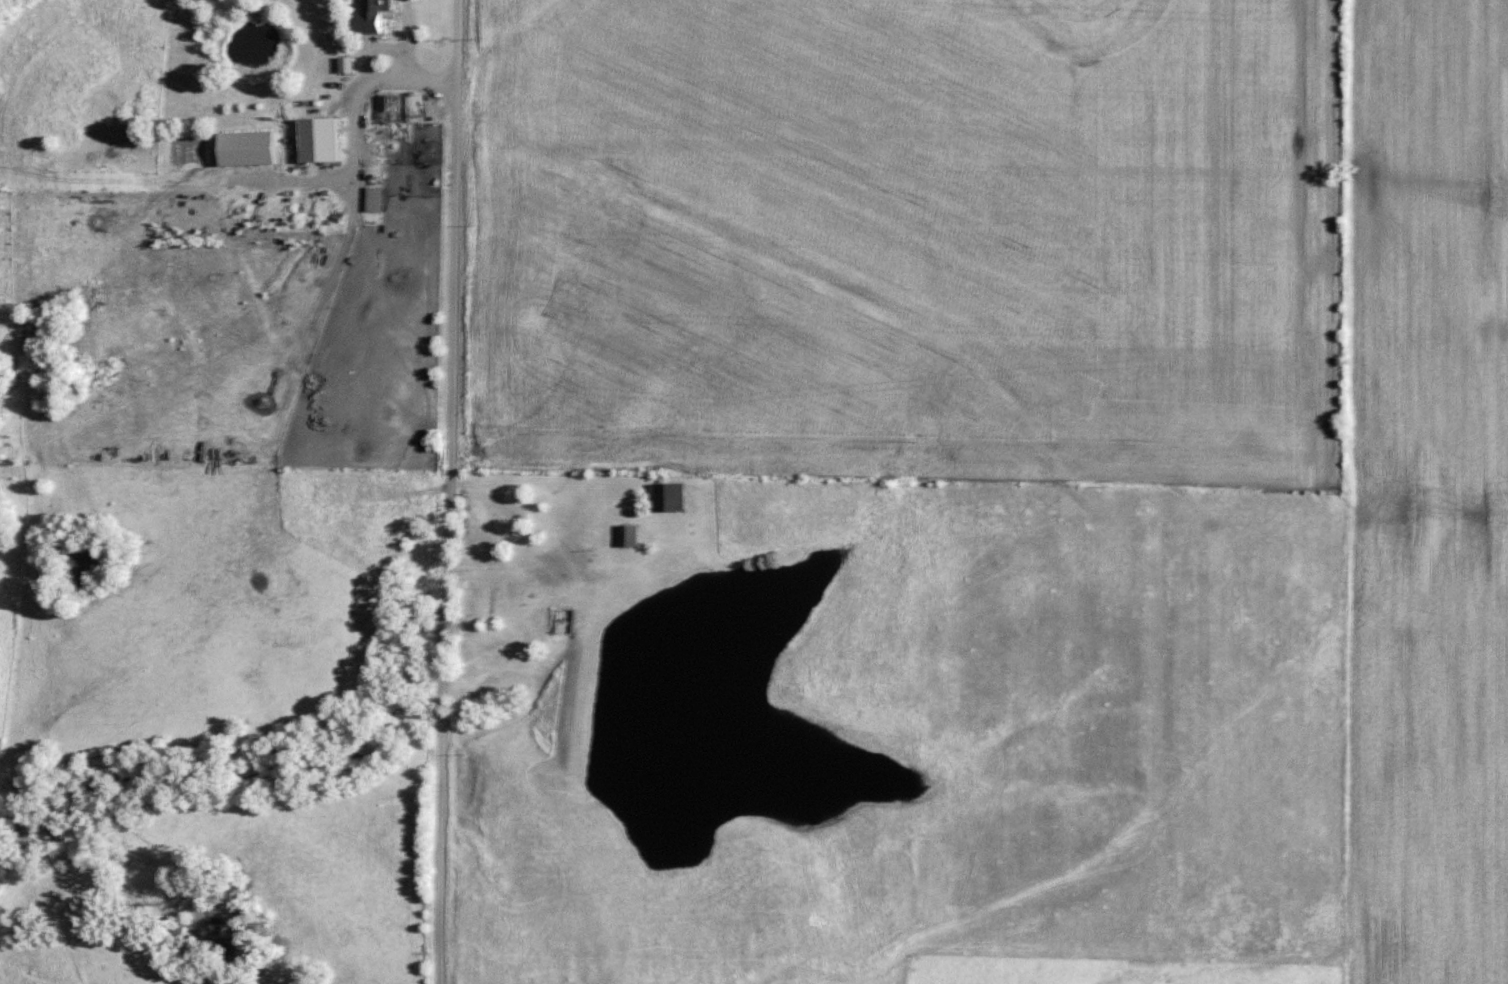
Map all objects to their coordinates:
building: (377, 16)
building: (396, 108)
road: (449, 492)

